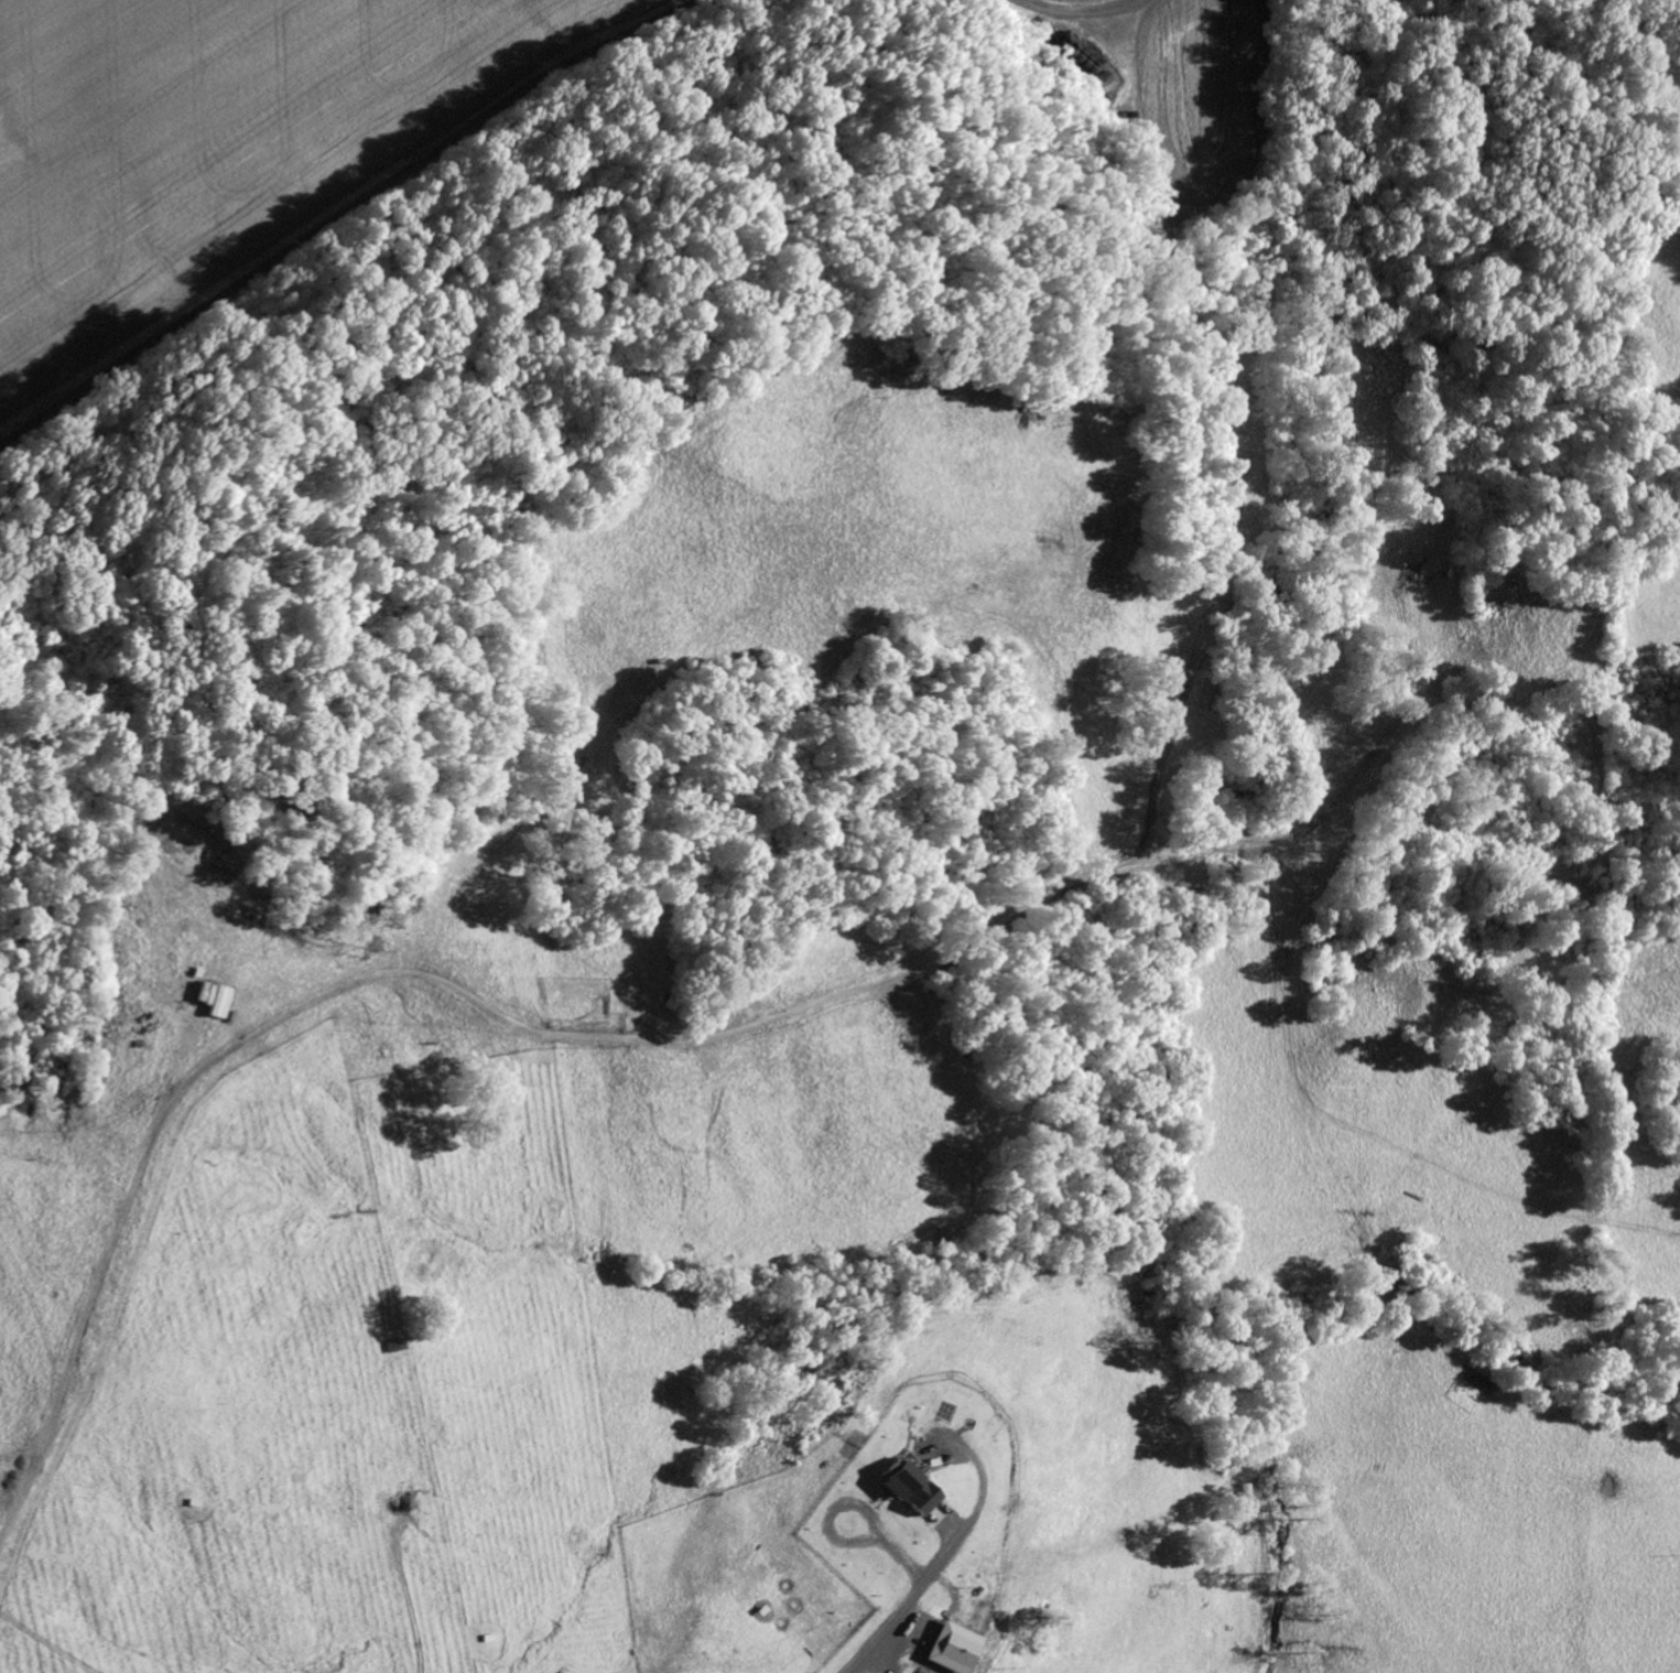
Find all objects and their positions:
road: (1077, 9)
road: (345, 212)

